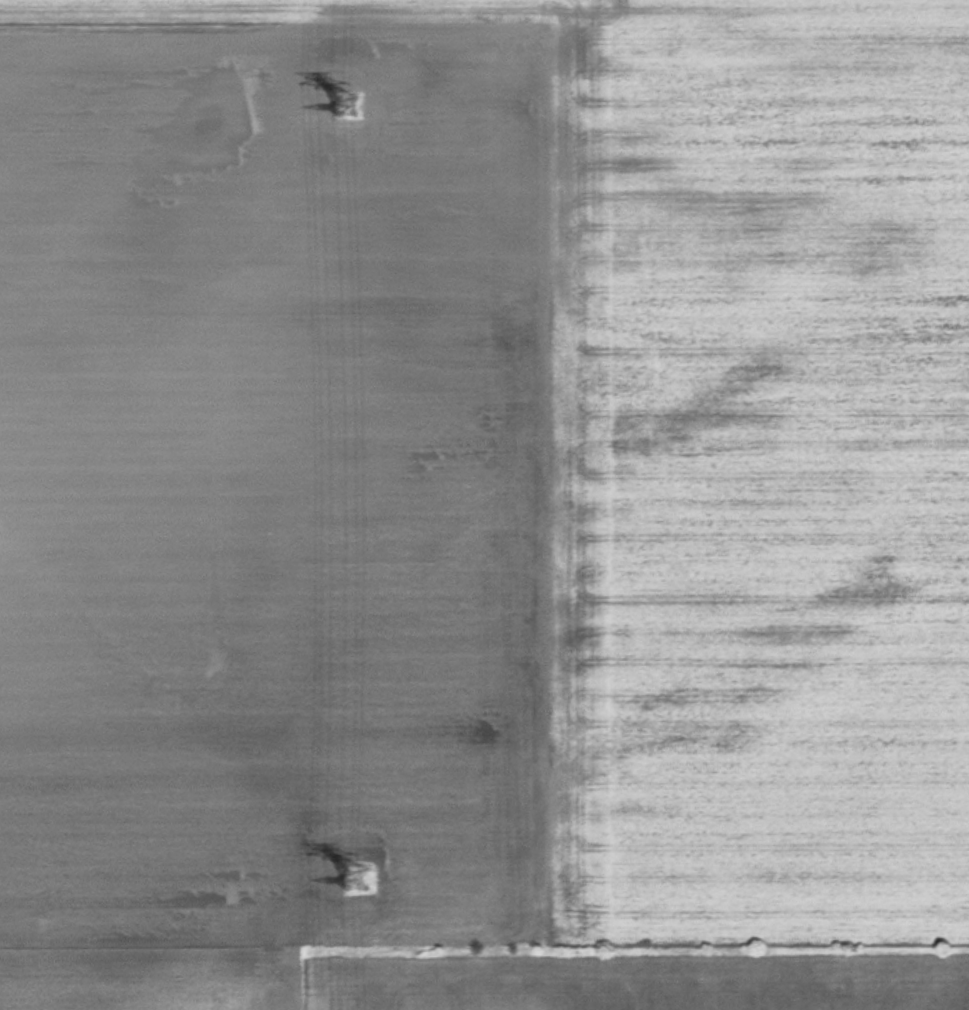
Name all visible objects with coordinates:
power tower: (348, 104)
power tower: (357, 877)

